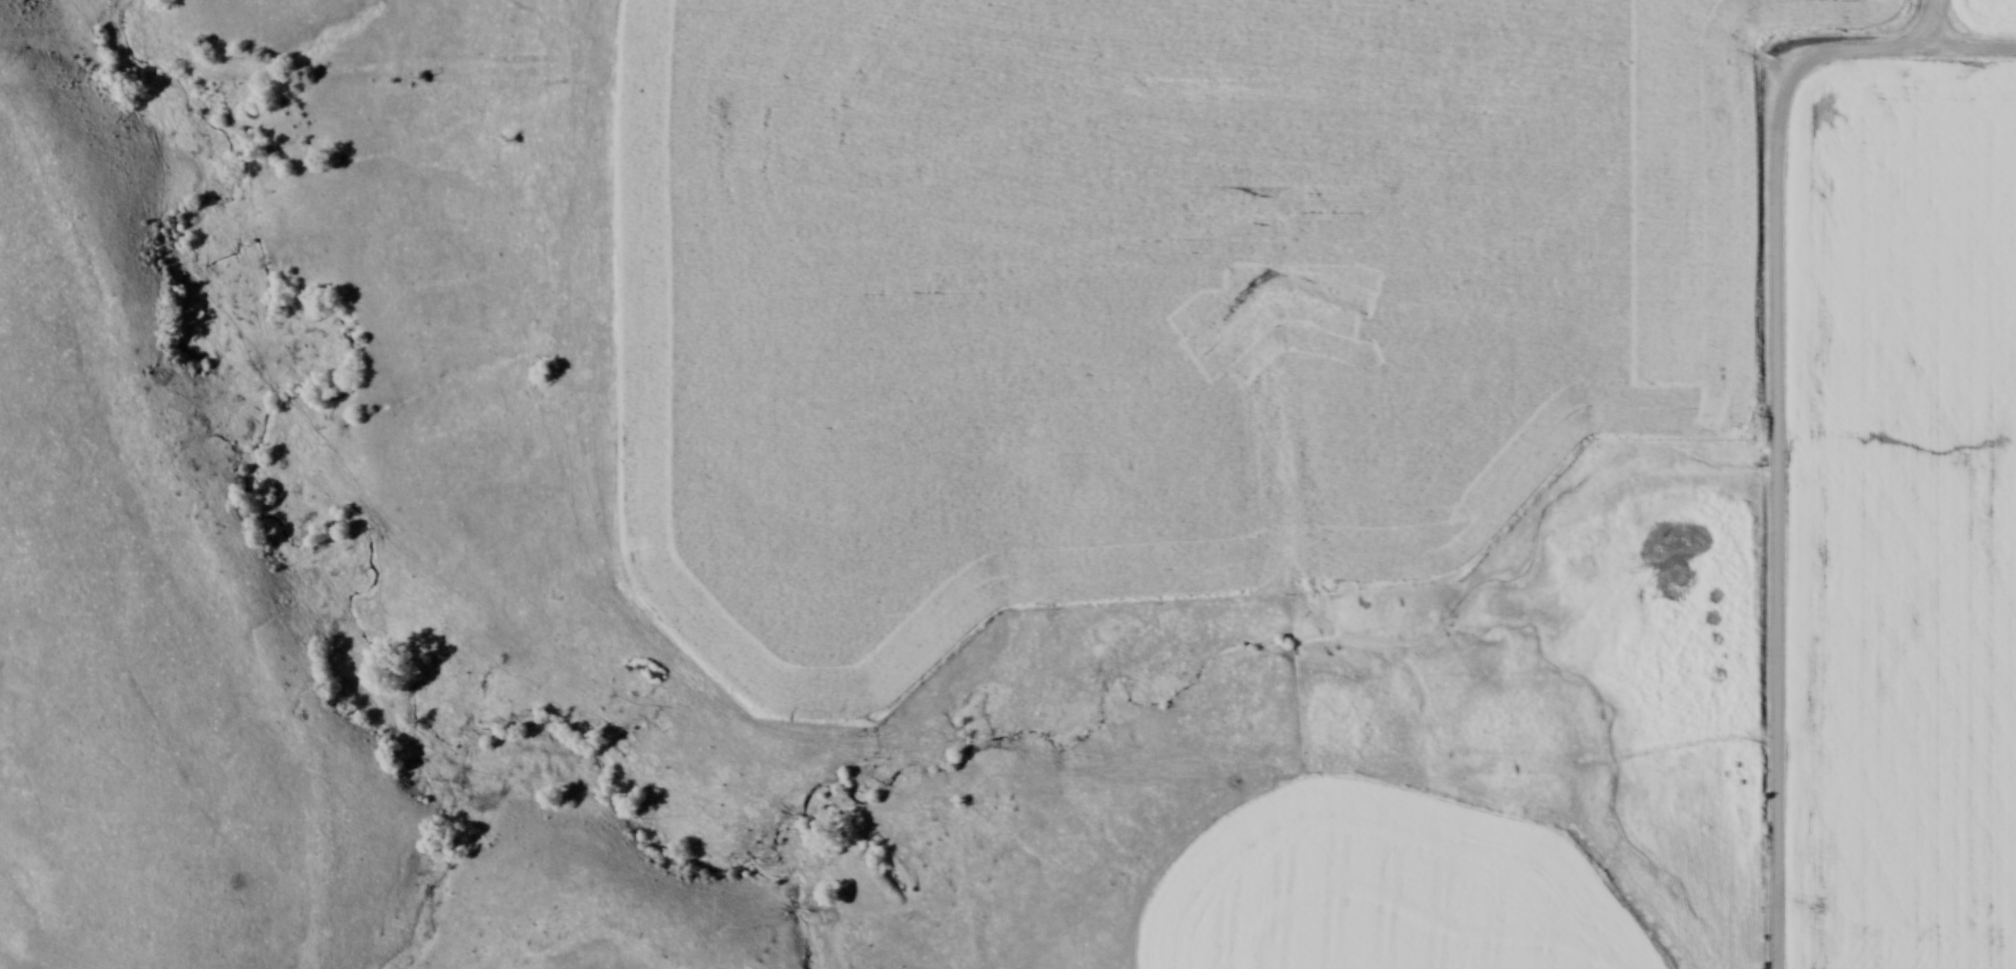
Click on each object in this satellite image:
road: (1908, 23)
road: (1961, 46)
road: (1779, 458)

